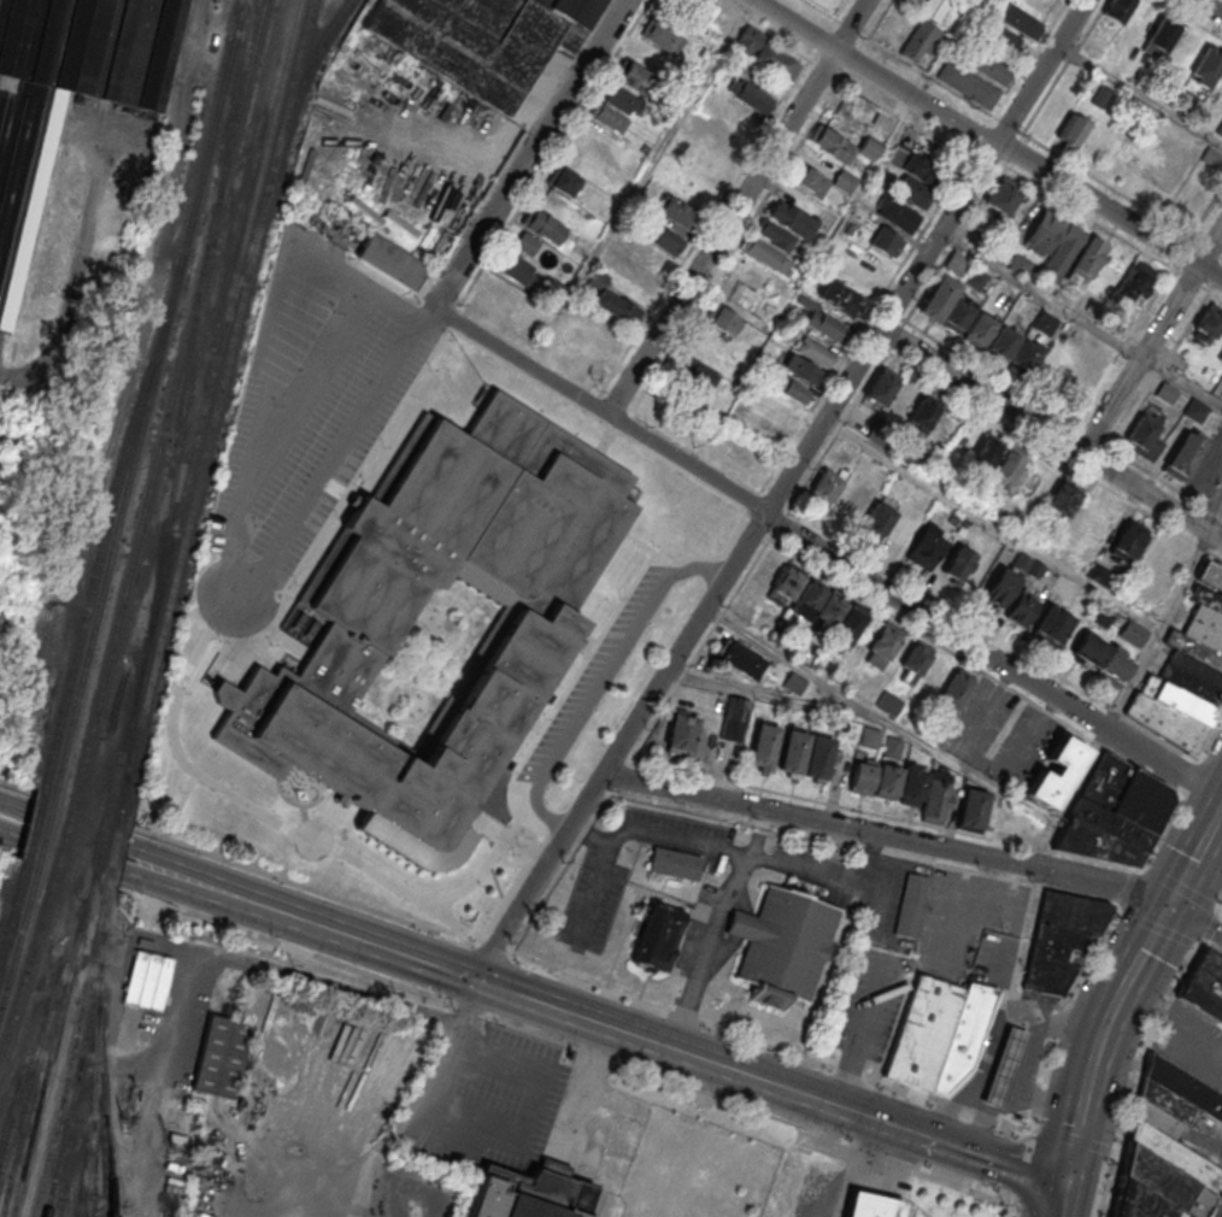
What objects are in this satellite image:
road: (1209, 7)
building: (1117, 10)
building: (1018, 22)
road: (850, 24)
building: (1162, 36)
building: (663, 37)
building: (481, 39)
building: (920, 41)
building: (763, 53)
building: (989, 67)
building: (1206, 67)
building: (639, 69)
road: (1039, 72)
road: (874, 74)
building: (968, 83)
railway: (299, 87)
railway: (287, 95)
building: (750, 95)
railway: (230, 102)
building: (616, 108)
building: (850, 110)
building: (1220, 129)
building: (1071, 131)
building: (832, 143)
building: (868, 149)
road: (530, 154)
building: (1210, 158)
building: (709, 163)
building: (913, 176)
building: (822, 181)
building: (563, 182)
road: (638, 182)
building: (693, 186)
building: (1003, 195)
road: (1109, 210)
building: (676, 212)
building: (17, 221)
building: (541, 225)
road: (721, 231)
road: (936, 236)
building: (886, 242)
building: (771, 243)
building: (1063, 247)
building: (650, 257)
building: (390, 261)
building: (957, 261)
building: (1018, 265)
building: (516, 269)
railway: (240, 270)
building: (1134, 282)
road: (1039, 295)
building: (842, 299)
building: (612, 301)
building: (946, 304)
road: (292, 308)
building: (725, 311)
building: (1206, 324)
building: (823, 325)
railway: (219, 330)
road: (1150, 339)
building: (815, 352)
building: (1024, 355)
building: (1087, 357)
building: (799, 369)
building: (698, 376)
building: (881, 387)
building: (788, 388)
railway: (148, 392)
building: (1165, 393)
railway: (169, 394)
building: (772, 407)
road: (600, 410)
building: (1195, 411)
building: (921, 416)
road: (1051, 435)
railway: (177, 436)
building: (1142, 436)
building: (985, 454)
building: (1182, 457)
building: (1006, 468)
building: (824, 488)
railway: (193, 498)
building: (1061, 501)
railway: (107, 513)
building: (887, 524)
road: (991, 525)
building: (466, 533)
building: (1127, 542)
building: (926, 547)
road: (235, 549)
road: (740, 551)
building: (958, 563)
building: (785, 586)
building: (999, 587)
building: (1021, 606)
building: (827, 613)
building: (764, 618)
building: (1052, 623)
road: (711, 625)
road: (1159, 630)
building: (1133, 634)
building: (882, 645)
road: (993, 657)
building: (1101, 657)
building: (738, 658)
building: (916, 658)
building: (934, 676)
building: (1186, 677)
road: (603, 680)
building: (793, 683)
building: (956, 690)
road: (821, 700)
building: (734, 718)
building: (283, 723)
railway: (124, 730)
railway: (130, 731)
building: (681, 731)
parking lot: (1032, 734)
building: (763, 746)
building: (792, 751)
building: (817, 756)
road: (942, 756)
building: (1056, 771)
building: (862, 774)
building: (887, 781)
building: (912, 784)
building: (938, 796)
road: (1070, 798)
railway: (119, 806)
building: (971, 810)
building: (1112, 813)
railway: (36, 819)
railway: (47, 823)
building: (1007, 823)
railway: (65, 829)
road: (760, 833)
road: (58, 836)
road: (887, 836)
railway: (99, 840)
railway: (111, 843)
building: (674, 863)
road: (745, 863)
road: (539, 877)
railway: (106, 878)
road: (836, 881)
parking lot: (727, 887)
building: (910, 904)
traffic signals: (1171, 905)
railway: (13, 910)
road: (296, 918)
road: (1197, 921)
parking lot: (970, 927)
railway: (19, 934)
building: (656, 937)
building: (1061, 939)
building: (782, 943)
railway: (28, 960)
road: (992, 975)
road: (292, 976)
road: (1122, 986)
building: (1204, 986)
building: (133, 995)
railway: (43, 1025)
building: (922, 1030)
building: (962, 1031)
road: (994, 1033)
road: (857, 1034)
road: (1168, 1034)
building: (336, 1040)
building: (370, 1043)
building: (286, 1045)
railway: (49, 1048)
railway: (69, 1051)
railway: (94, 1051)
road: (685, 1052)
building: (216, 1054)
road: (1221, 1062)
building: (363, 1065)
building: (1004, 1069)
building: (315, 1070)
railway: (75, 1075)
road: (983, 1080)
building: (352, 1086)
road: (998, 1086)
building: (311, 1095)
road: (1044, 1101)
railway: (25, 1105)
building: (343, 1106)
road: (513, 1109)
railway: (102, 1111)
building: (268, 1115)
building: (294, 1115)
railway: (11, 1118)
railway: (70, 1137)
building: (292, 1137)
building: (330, 1139)
road: (382, 1147)
building: (1167, 1148)
road: (976, 1152)
railway: (84, 1168)
road: (852, 1168)
railway: (63, 1175)
traffic signals: (1062, 1182)
building: (527, 1194)
road: (1057, 1199)
railway: (80, 1205)
building: (871, 1205)

